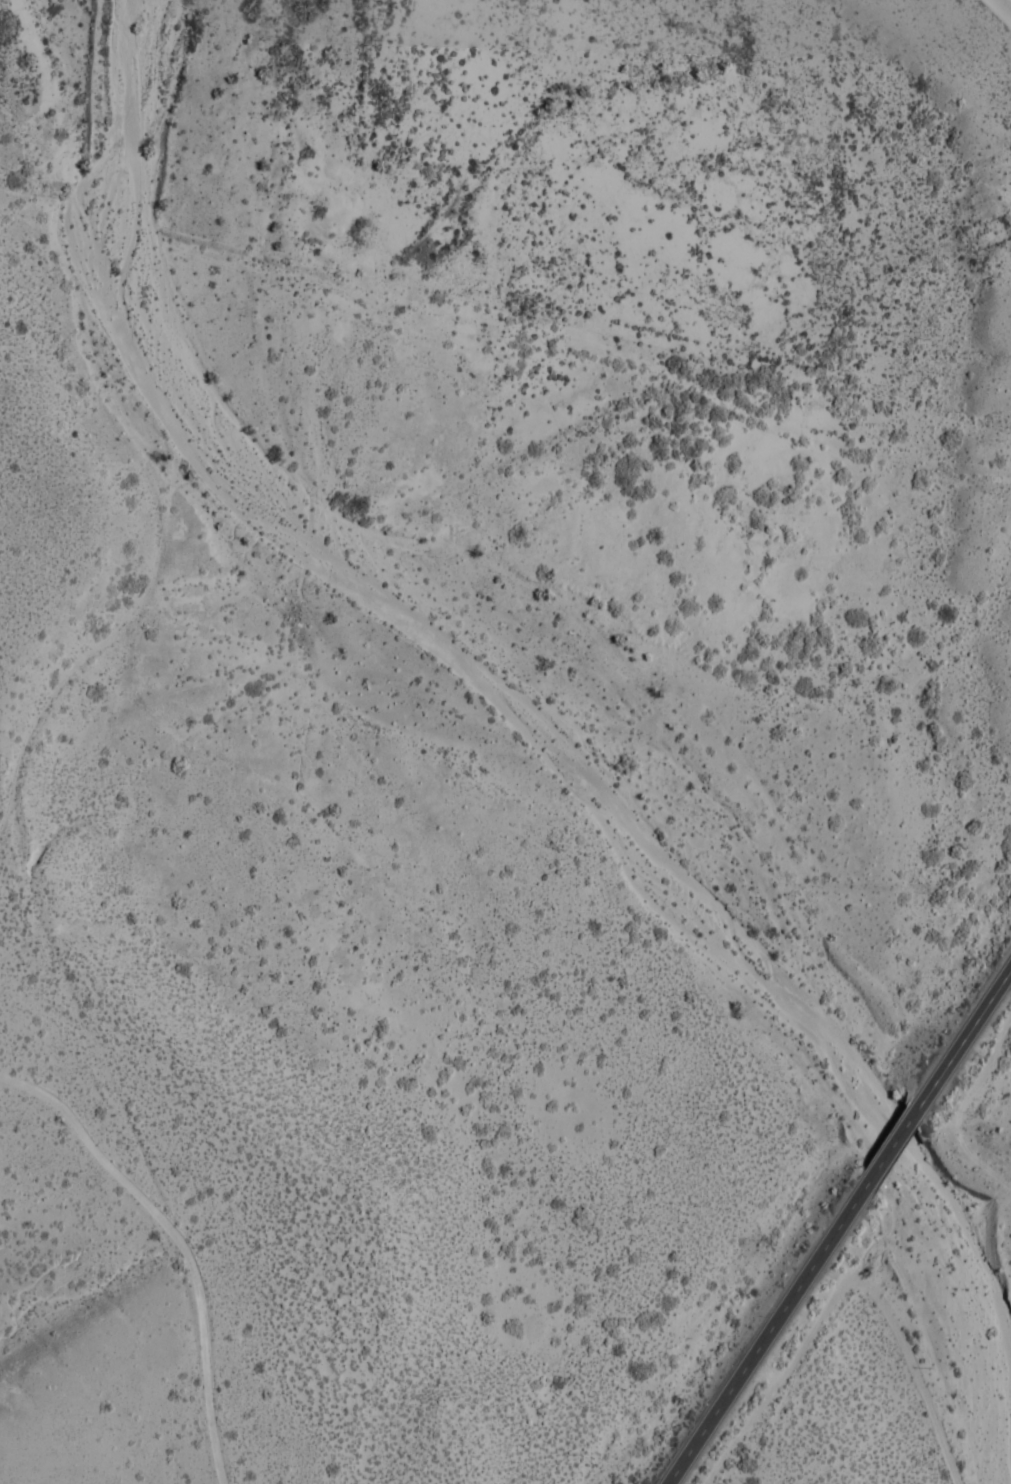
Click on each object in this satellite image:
road: (1003, 7)
road: (844, 1228)

